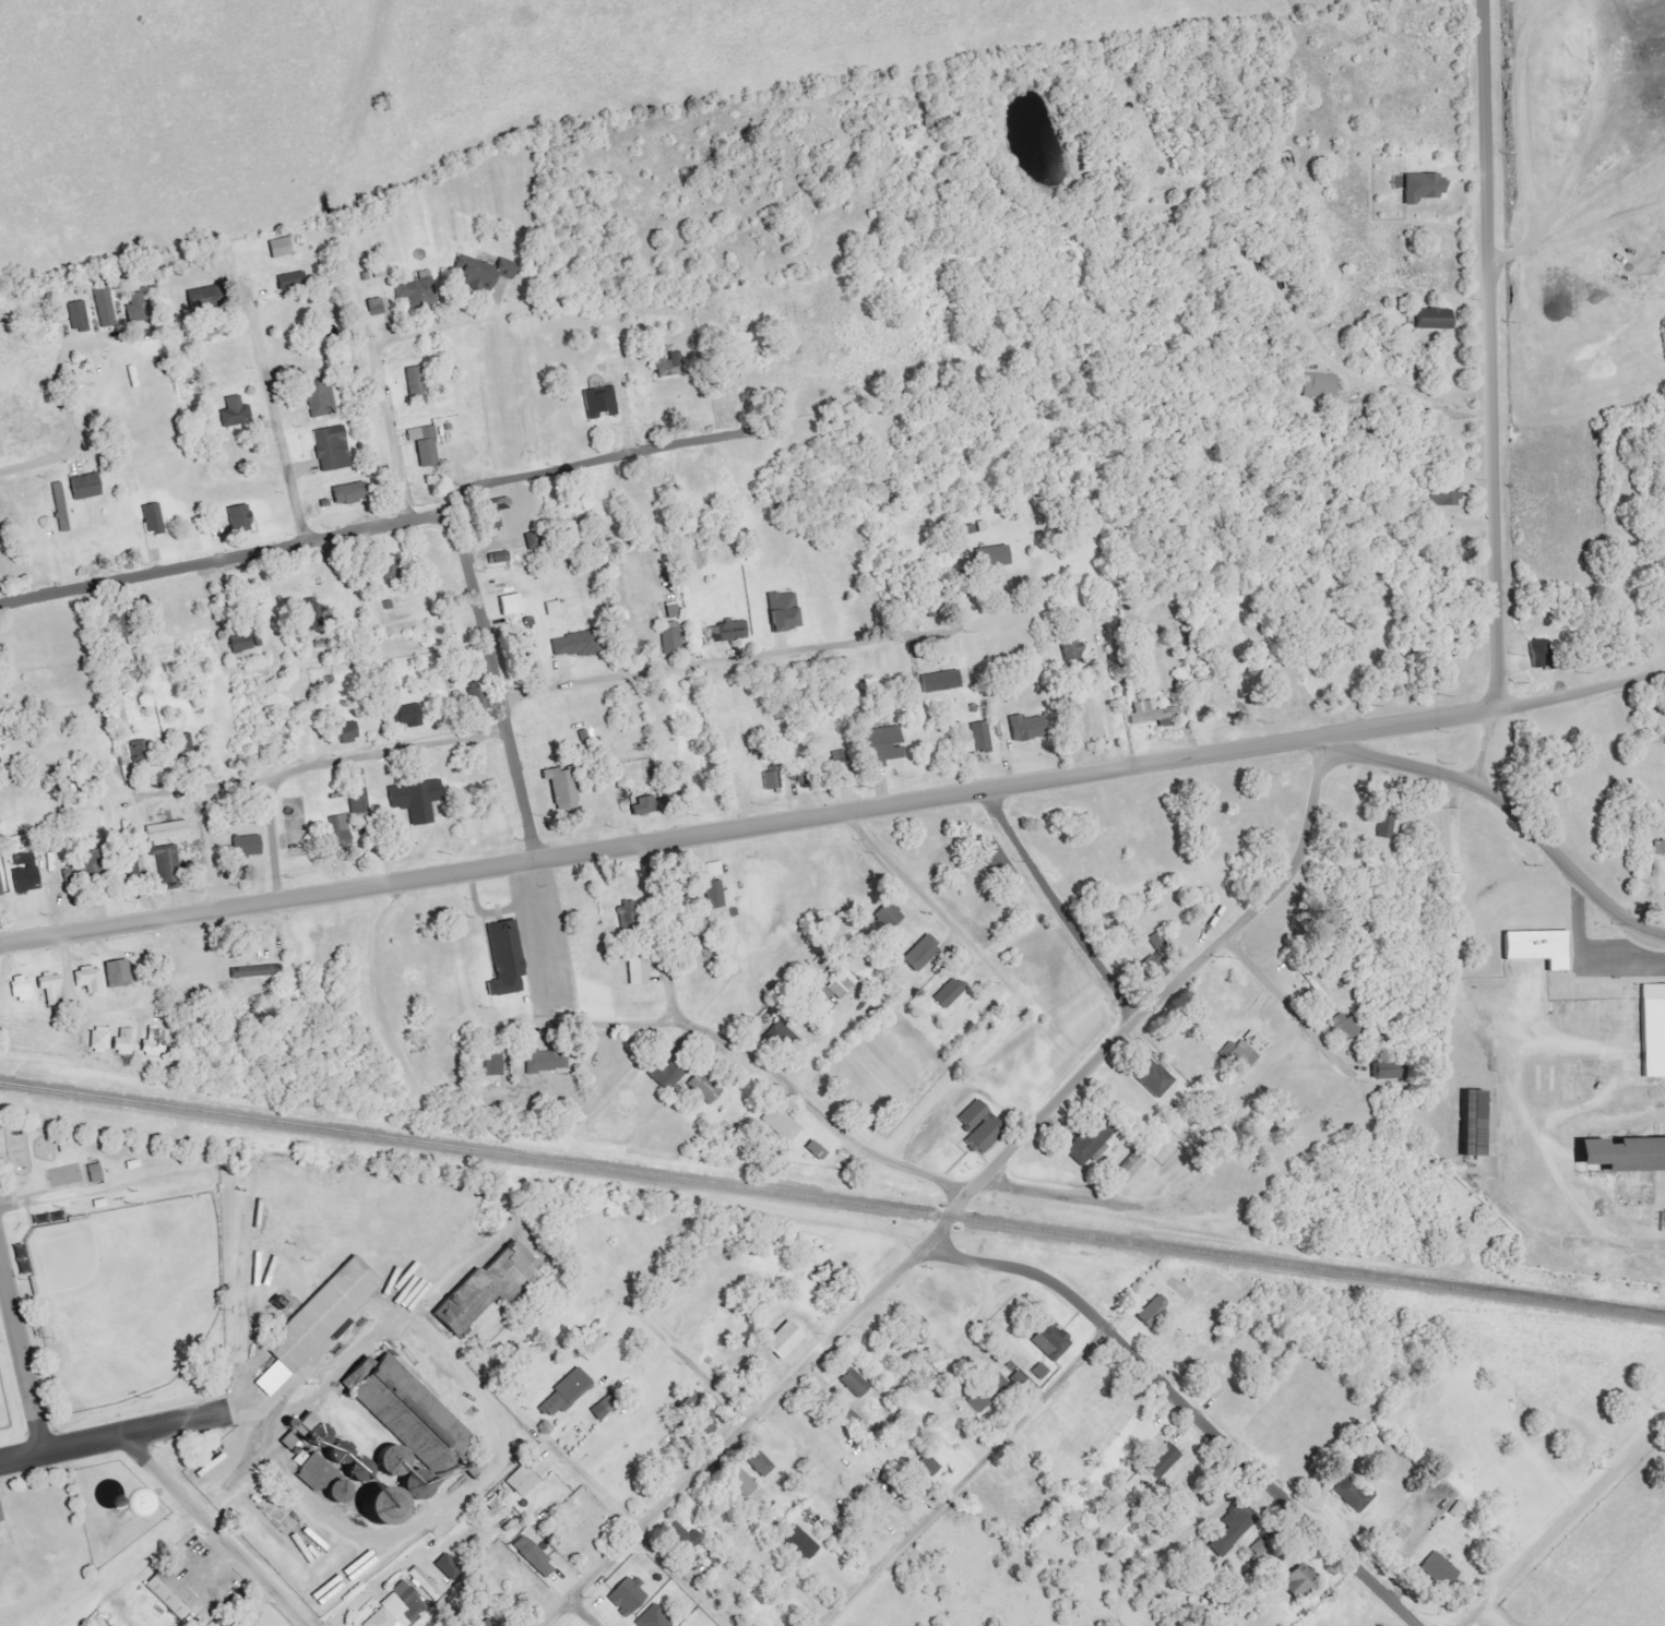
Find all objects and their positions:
building: (1420, 187)
building: (278, 248)
building: (480, 272)
building: (289, 279)
building: (417, 291)
building: (199, 298)
building: (103, 306)
building: (374, 307)
building: (133, 309)
building: (76, 316)
building: (1431, 319)
road: (1491, 350)
building: (663, 367)
road: (382, 379)
building: (415, 383)
building: (1318, 388)
building: (320, 398)
road: (1427, 402)
building: (598, 403)
building: (234, 413)
road: (272, 414)
road: (78, 426)
building: (331, 449)
building: (423, 449)
road: (586, 463)
building: (84, 487)
building: (1441, 497)
building: (347, 498)
building: (59, 507)
building: (492, 512)
building: (152, 518)
building: (237, 523)
building: (991, 557)
road: (205, 561)
building: (510, 605)
building: (671, 610)
building: (780, 617)
building: (725, 635)
building: (670, 637)
building: (241, 643)
building: (573, 645)
building: (1070, 647)
building: (1536, 654)
building: (525, 656)
road: (723, 659)
road: (493, 671)
road: (1581, 688)
building: (477, 701)
building: (1222, 702)
building: (1150, 715)
building: (405, 716)
road: (1406, 720)
building: (1025, 728)
building: (345, 731)
building: (980, 737)
building: (185, 744)
building: (883, 745)
building: (135, 749)
road: (330, 762)
building: (835, 766)
building: (771, 779)
building: (559, 787)
building: (356, 793)
building: (415, 800)
building: (641, 808)
road: (787, 814)
road: (199, 815)
building: (1384, 826)
building: (166, 830)
building: (1655, 830)
building: (337, 832)
building: (246, 847)
building: (1658, 848)
building: (995, 861)
building: (88, 862)
building: (129, 865)
building: (167, 866)
building: (25, 874)
road: (1453, 878)
building: (1, 886)
building: (713, 886)
road: (926, 898)
road: (1602, 898)
road: (1055, 904)
road: (503, 911)
building: (627, 911)
building: (888, 916)
building: (1539, 947)
building: (920, 953)
building: (503, 959)
road: (535, 966)
building: (1150, 969)
building: (253, 971)
building: (637, 971)
building: (115, 973)
road: (1179, 976)
building: (88, 980)
building: (842, 983)
building: (47, 991)
building: (19, 992)
building: (948, 994)
road: (1289, 1000)
building: (822, 1001)
road: (126, 1013)
building: (1650, 1019)
road: (602, 1025)
building: (1343, 1028)
building: (776, 1037)
building: (99, 1040)
building: (123, 1042)
building: (152, 1043)
building: (1240, 1053)
road: (750, 1054)
building: (546, 1061)
building: (491, 1064)
building: (1384, 1071)
building: (664, 1075)
building: (1151, 1077)
building: (702, 1088)
building: (1475, 1123)
building: (780, 1124)
building: (978, 1125)
building: (1090, 1141)
building: (66, 1145)
building: (814, 1151)
building: (1622, 1153)
building: (134, 1163)
building: (1129, 1168)
building: (95, 1172)
park: (64, 1175)
road: (84, 1175)
road: (47, 1182)
road: (50, 1191)
parking lot: (8, 1200)
railway: (832, 1200)
building: (100, 1203)
road: (49, 1216)
building: (79, 1218)
building: (40, 1221)
road: (22, 1243)
building: (26, 1265)
park: (116, 1267)
building: (255, 1269)
building: (269, 1270)
building: (489, 1283)
building: (388, 1284)
building: (34, 1286)
park: (126, 1298)
building: (1151, 1310)
road: (852, 1311)
building: (317, 1322)
building: (783, 1340)
building: (1050, 1340)
road: (22, 1354)
road: (681, 1355)
building: (1039, 1371)
road: (304, 1373)
building: (1018, 1378)
building: (853, 1382)
building: (986, 1391)
building: (564, 1392)
road: (316, 1395)
road: (1181, 1402)
road: (249, 1411)
building: (415, 1416)
building: (851, 1419)
road: (180, 1422)
building: (293, 1422)
building: (704, 1426)
building: (322, 1435)
building: (300, 1437)
park: (1478, 1438)
road: (84, 1440)
building: (343, 1452)
road: (22, 1455)
building: (395, 1460)
building: (1161, 1460)
building: (759, 1463)
building: (362, 1469)
building: (924, 1470)
building: (317, 1472)
road: (961, 1476)
building: (524, 1480)
building: (742, 1482)
building: (421, 1484)
building: (341, 1491)
building: (1351, 1495)
road: (462, 1496)
water tower: (104, 1498)
building: (92, 1503)
building: (390, 1505)
building: (0, 1514)
road: (1561, 1523)
road: (637, 1528)
road: (216, 1529)
building: (1232, 1529)
building: (682, 1537)
building: (798, 1543)
building: (533, 1555)
building: (444, 1565)
building: (359, 1566)
building: (1438, 1569)
building: (1297, 1581)
building: (425, 1583)
road: (380, 1585)
building: (328, 1590)
building: (165, 1592)
building: (626, 1595)
building: (396, 1610)
road: (580, 1614)
road: (1491, 1615)
building: (652, 1618)

